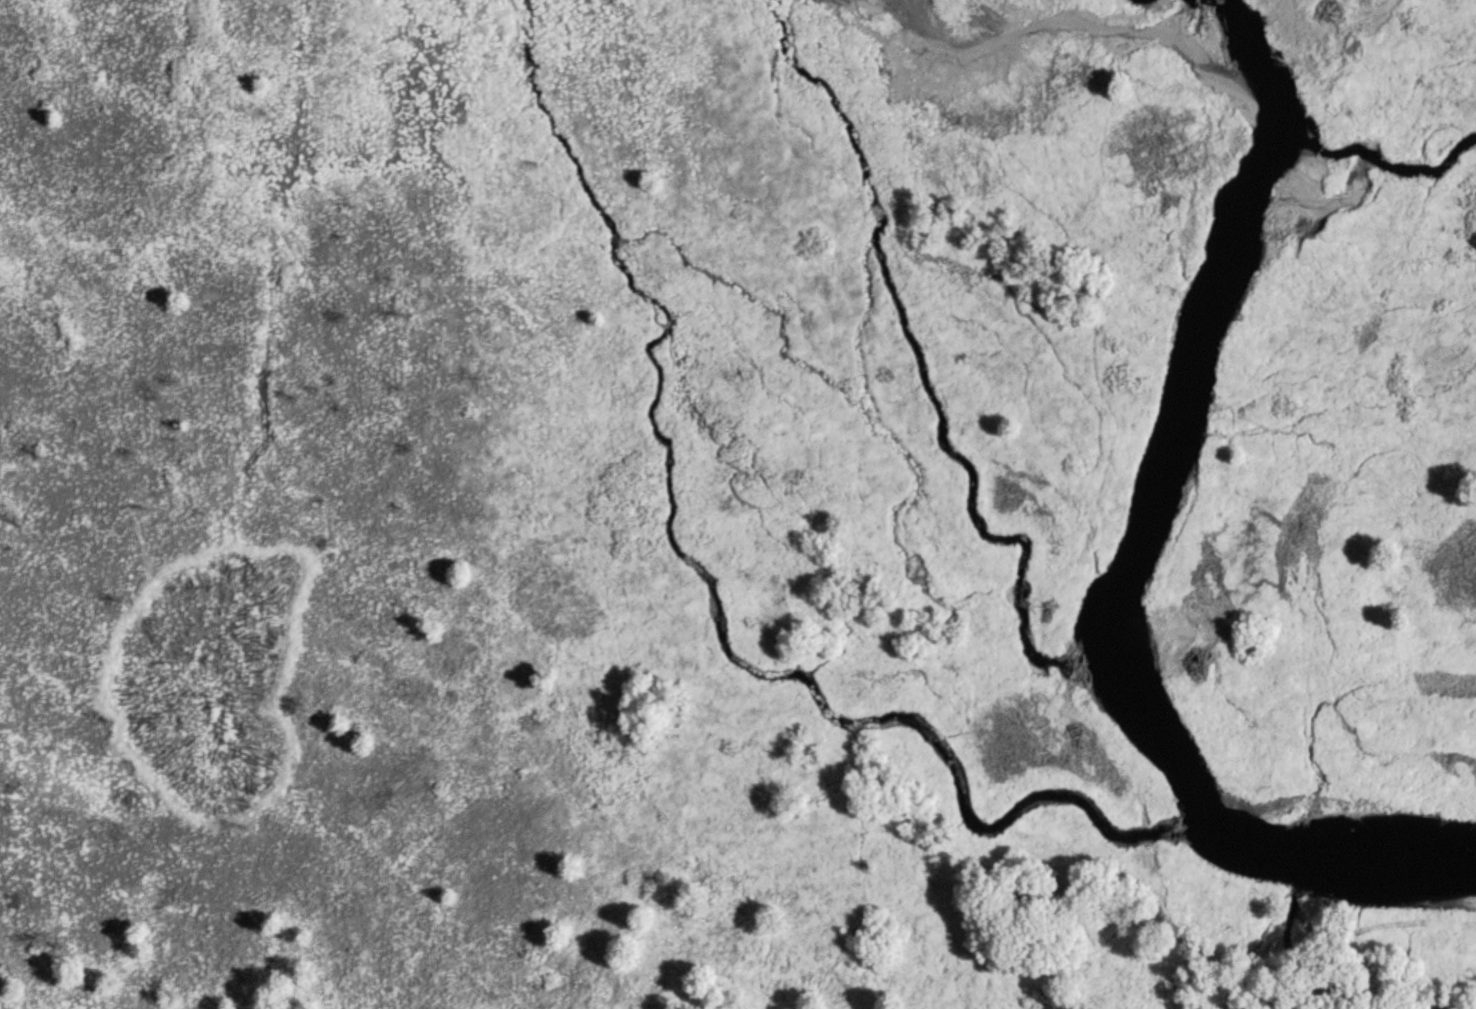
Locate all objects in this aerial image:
river: (1144, 537)

